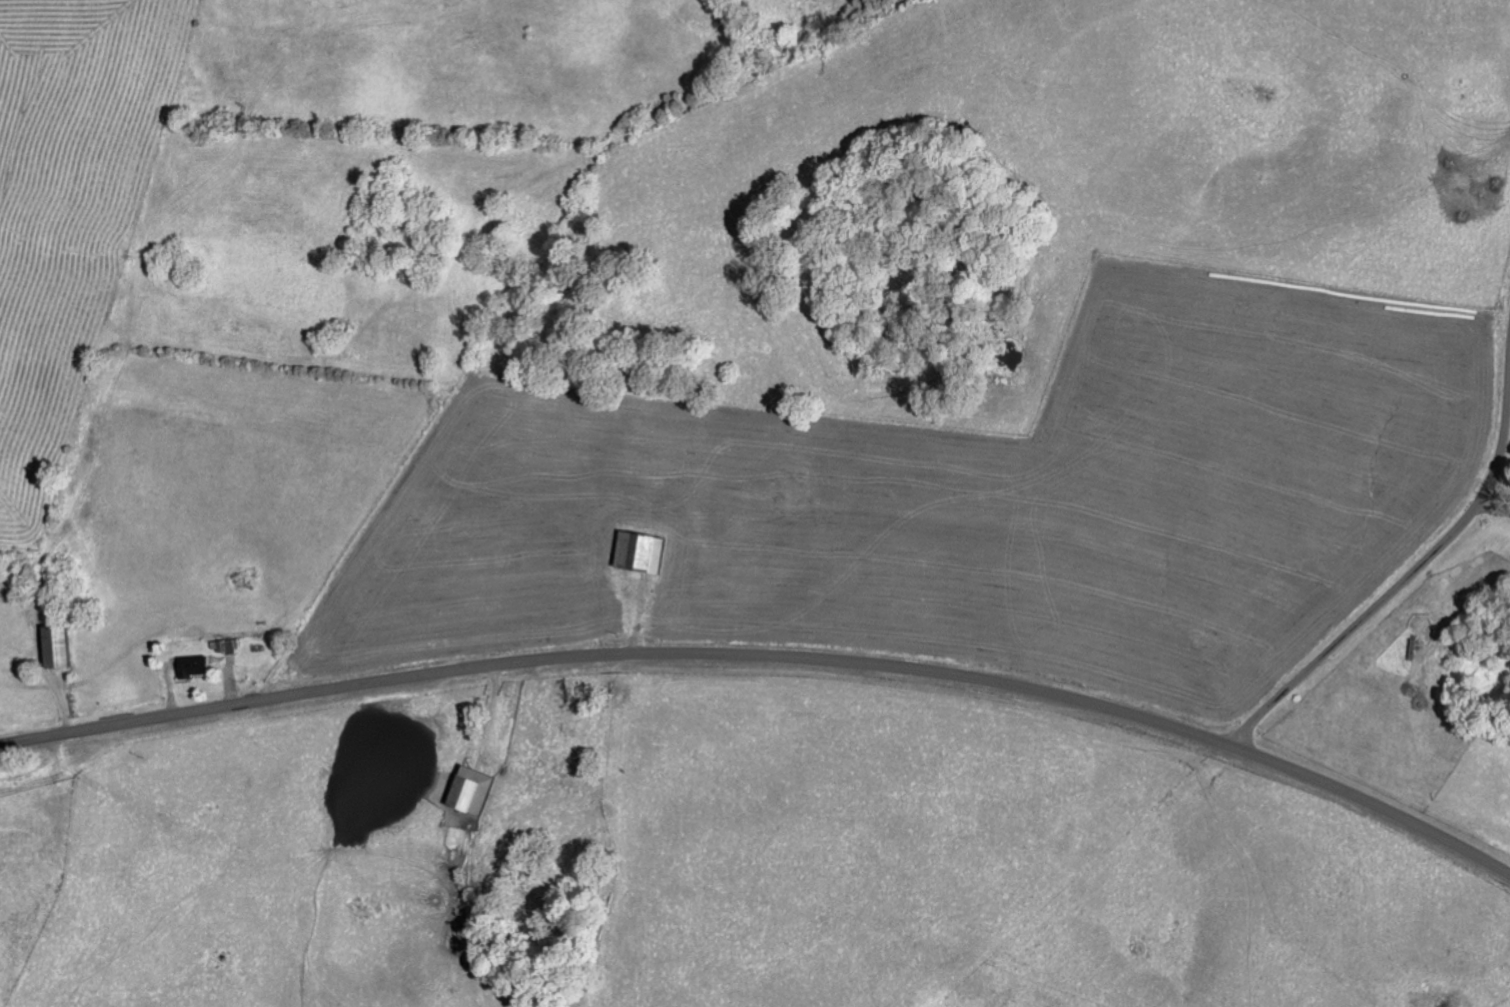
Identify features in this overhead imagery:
building: (639, 550)
road: (1415, 569)
building: (55, 644)
building: (223, 644)
road: (770, 656)
building: (193, 664)
building: (470, 789)

